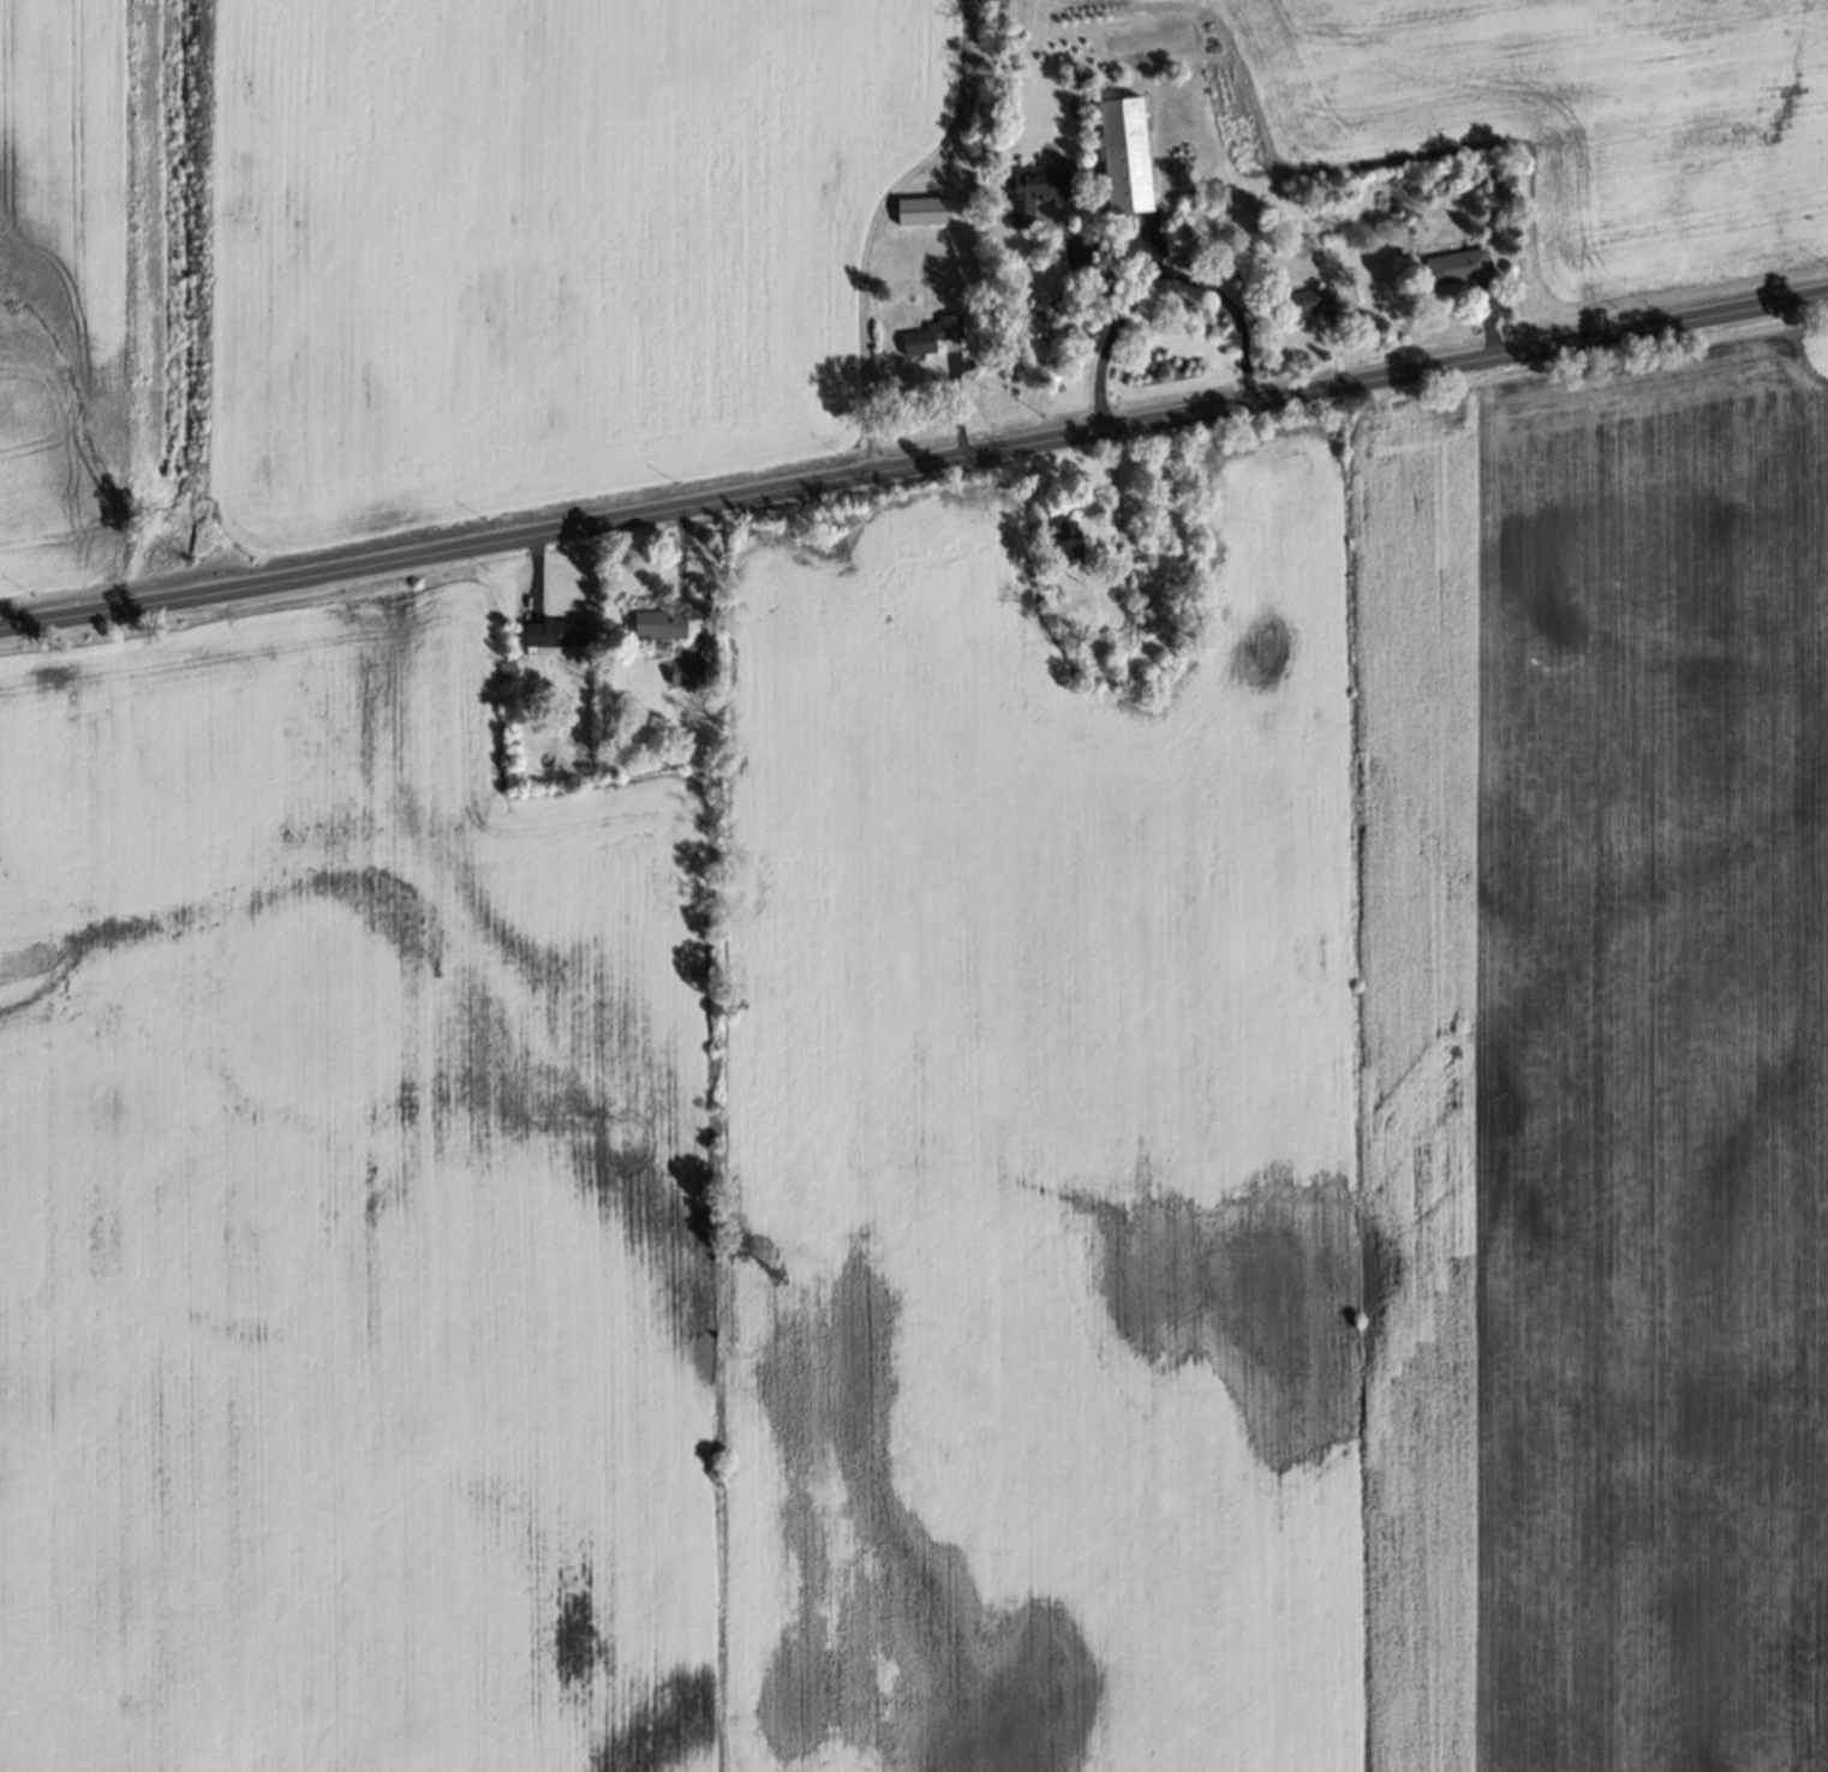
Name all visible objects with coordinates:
building: (1124, 154)
building: (1034, 190)
building: (920, 209)
building: (1176, 239)
building: (1457, 265)
road: (1157, 273)
building: (1313, 299)
road: (862, 333)
building: (932, 334)
road: (914, 467)
building: (1067, 539)
building: (658, 624)
building: (556, 631)
building: (682, 674)
crop: (957, 1139)

